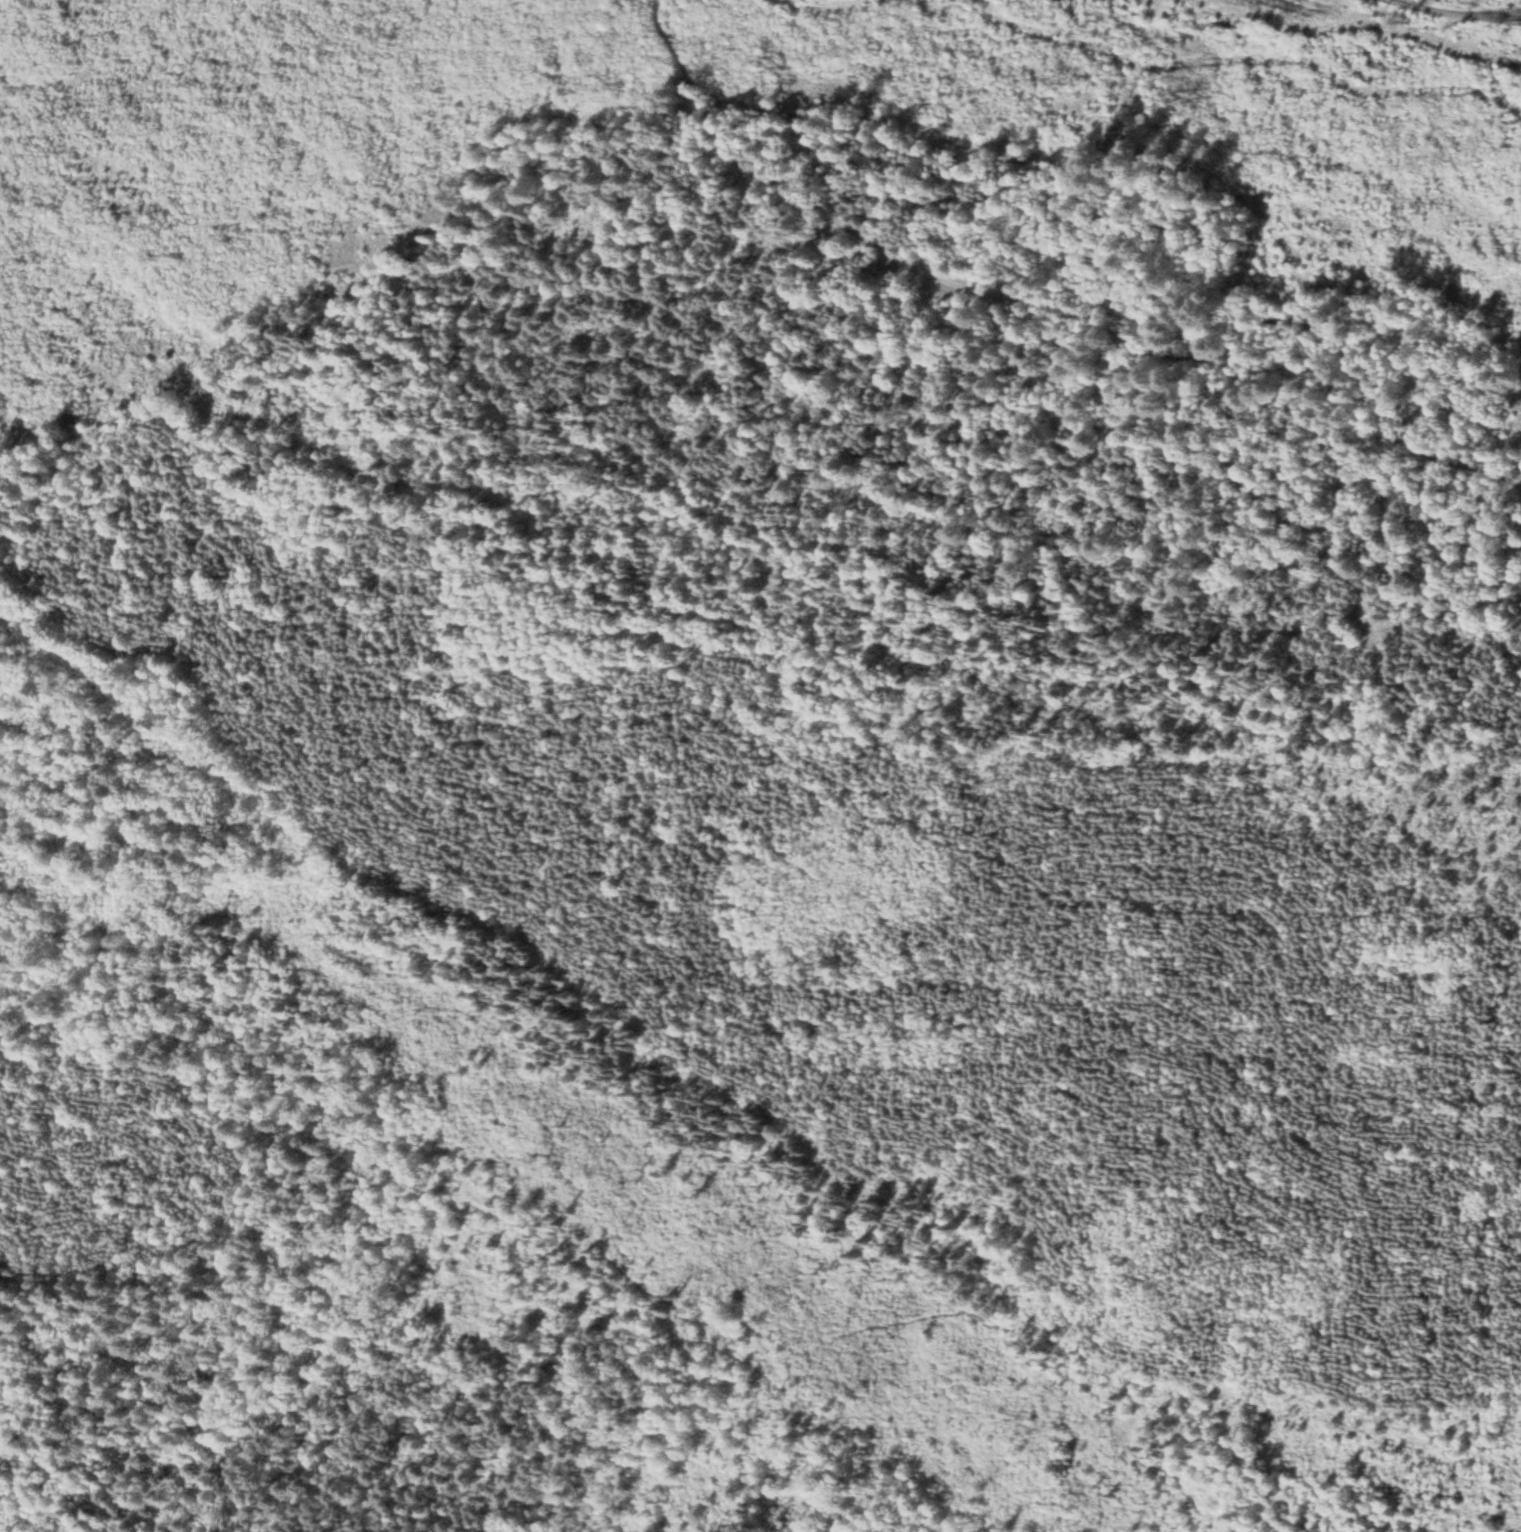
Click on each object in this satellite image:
road: (1492, 4)
road: (1059, 308)

